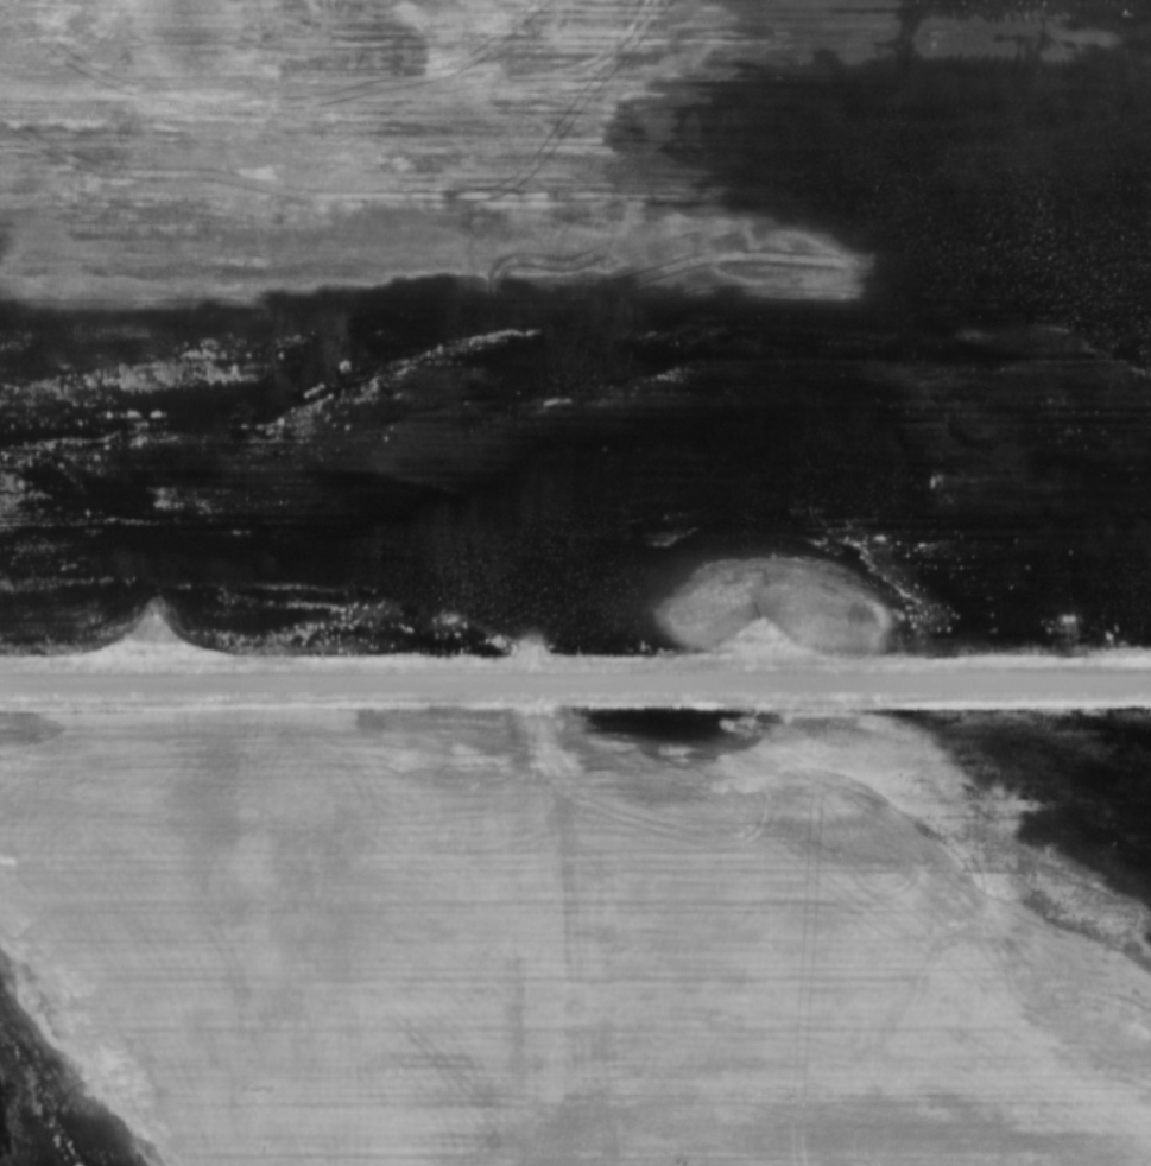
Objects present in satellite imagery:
road: (575, 685)

